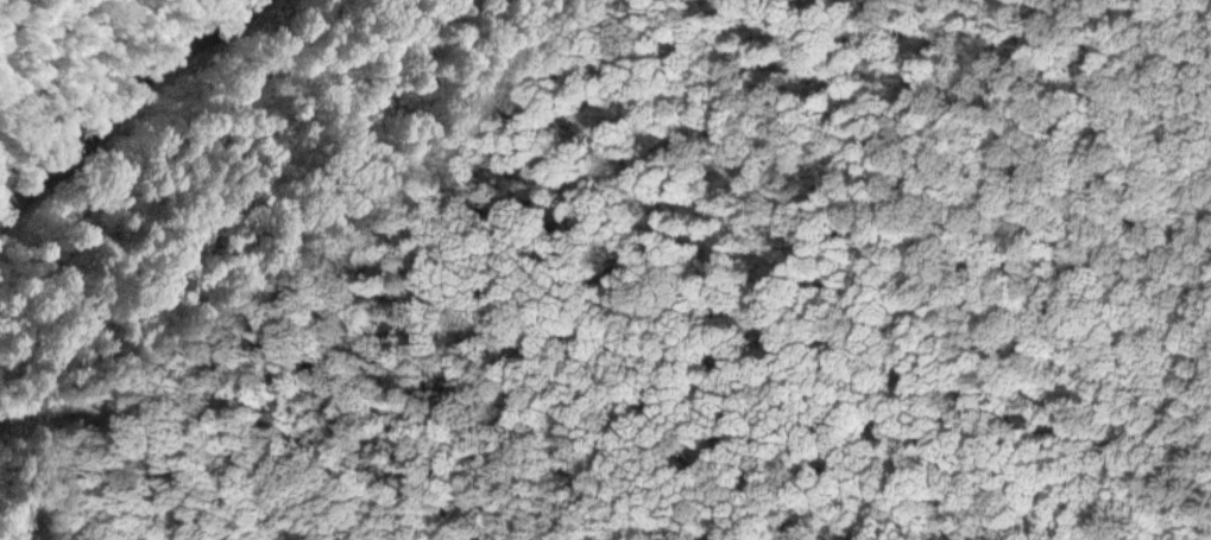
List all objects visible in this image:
road: (128, 101)
road: (707, 343)
road: (97, 357)
road: (450, 527)

